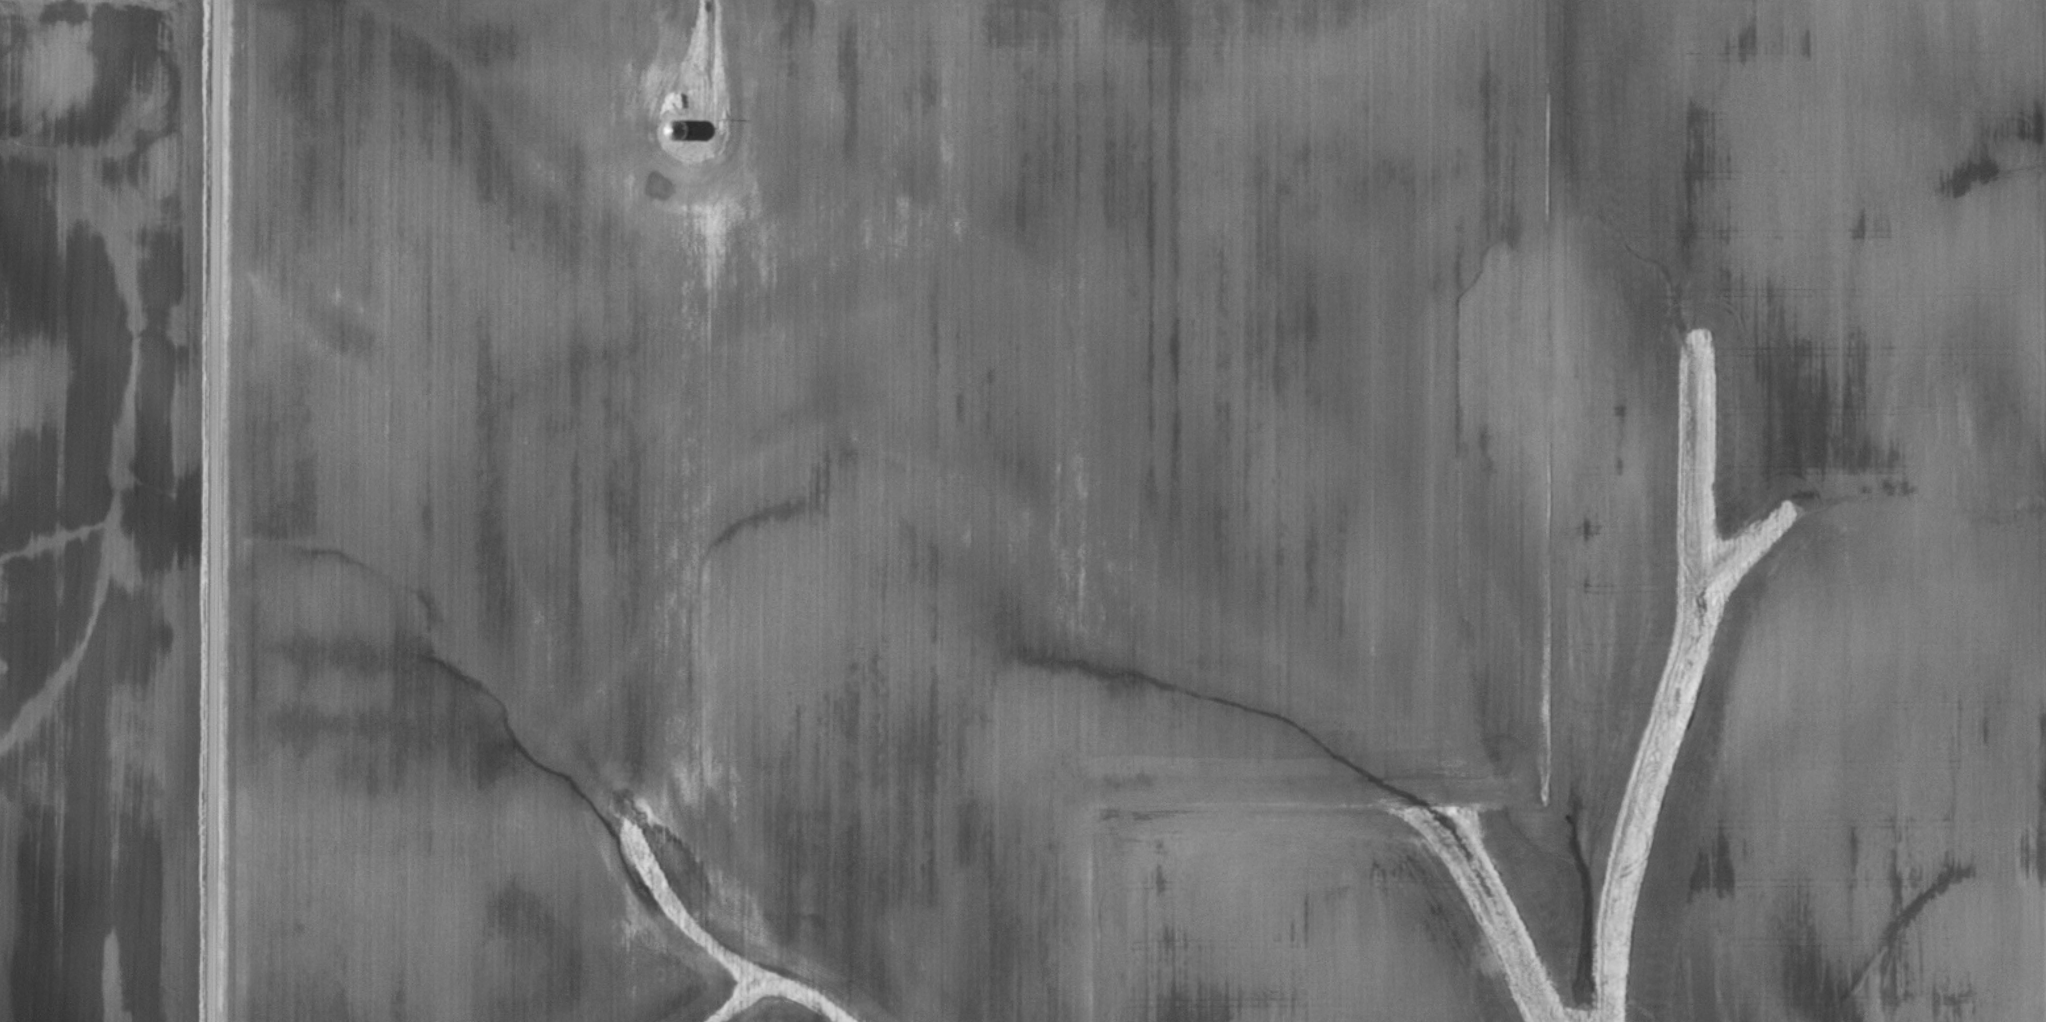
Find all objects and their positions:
road: (223, 511)

